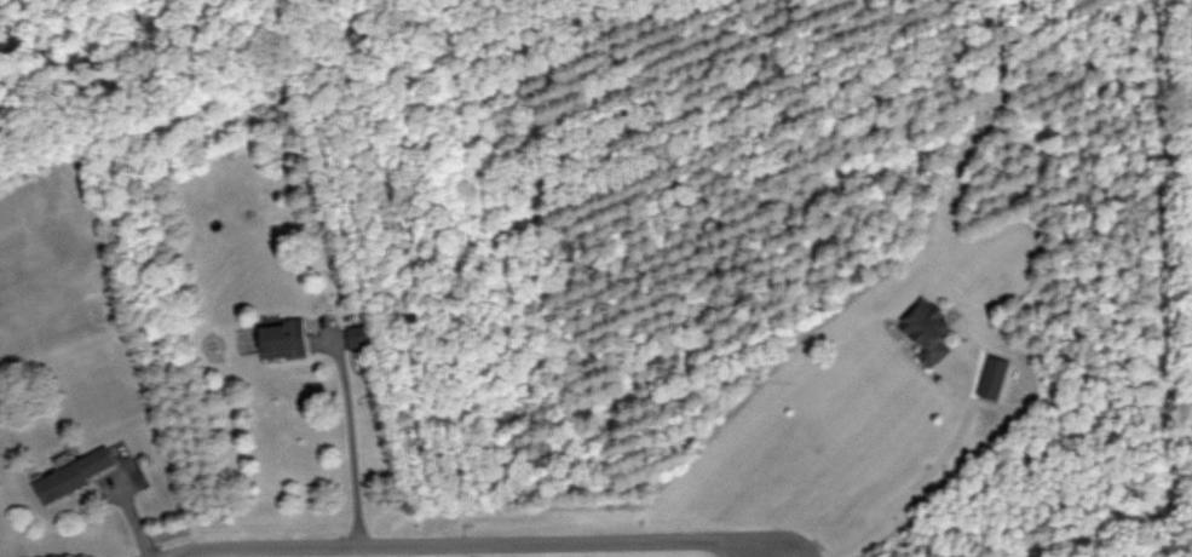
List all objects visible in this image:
building: (931, 332)
building: (358, 338)
building: (283, 340)
building: (992, 383)
road: (356, 409)
road: (926, 469)
building: (75, 475)
road: (467, 527)
road: (106, 556)

